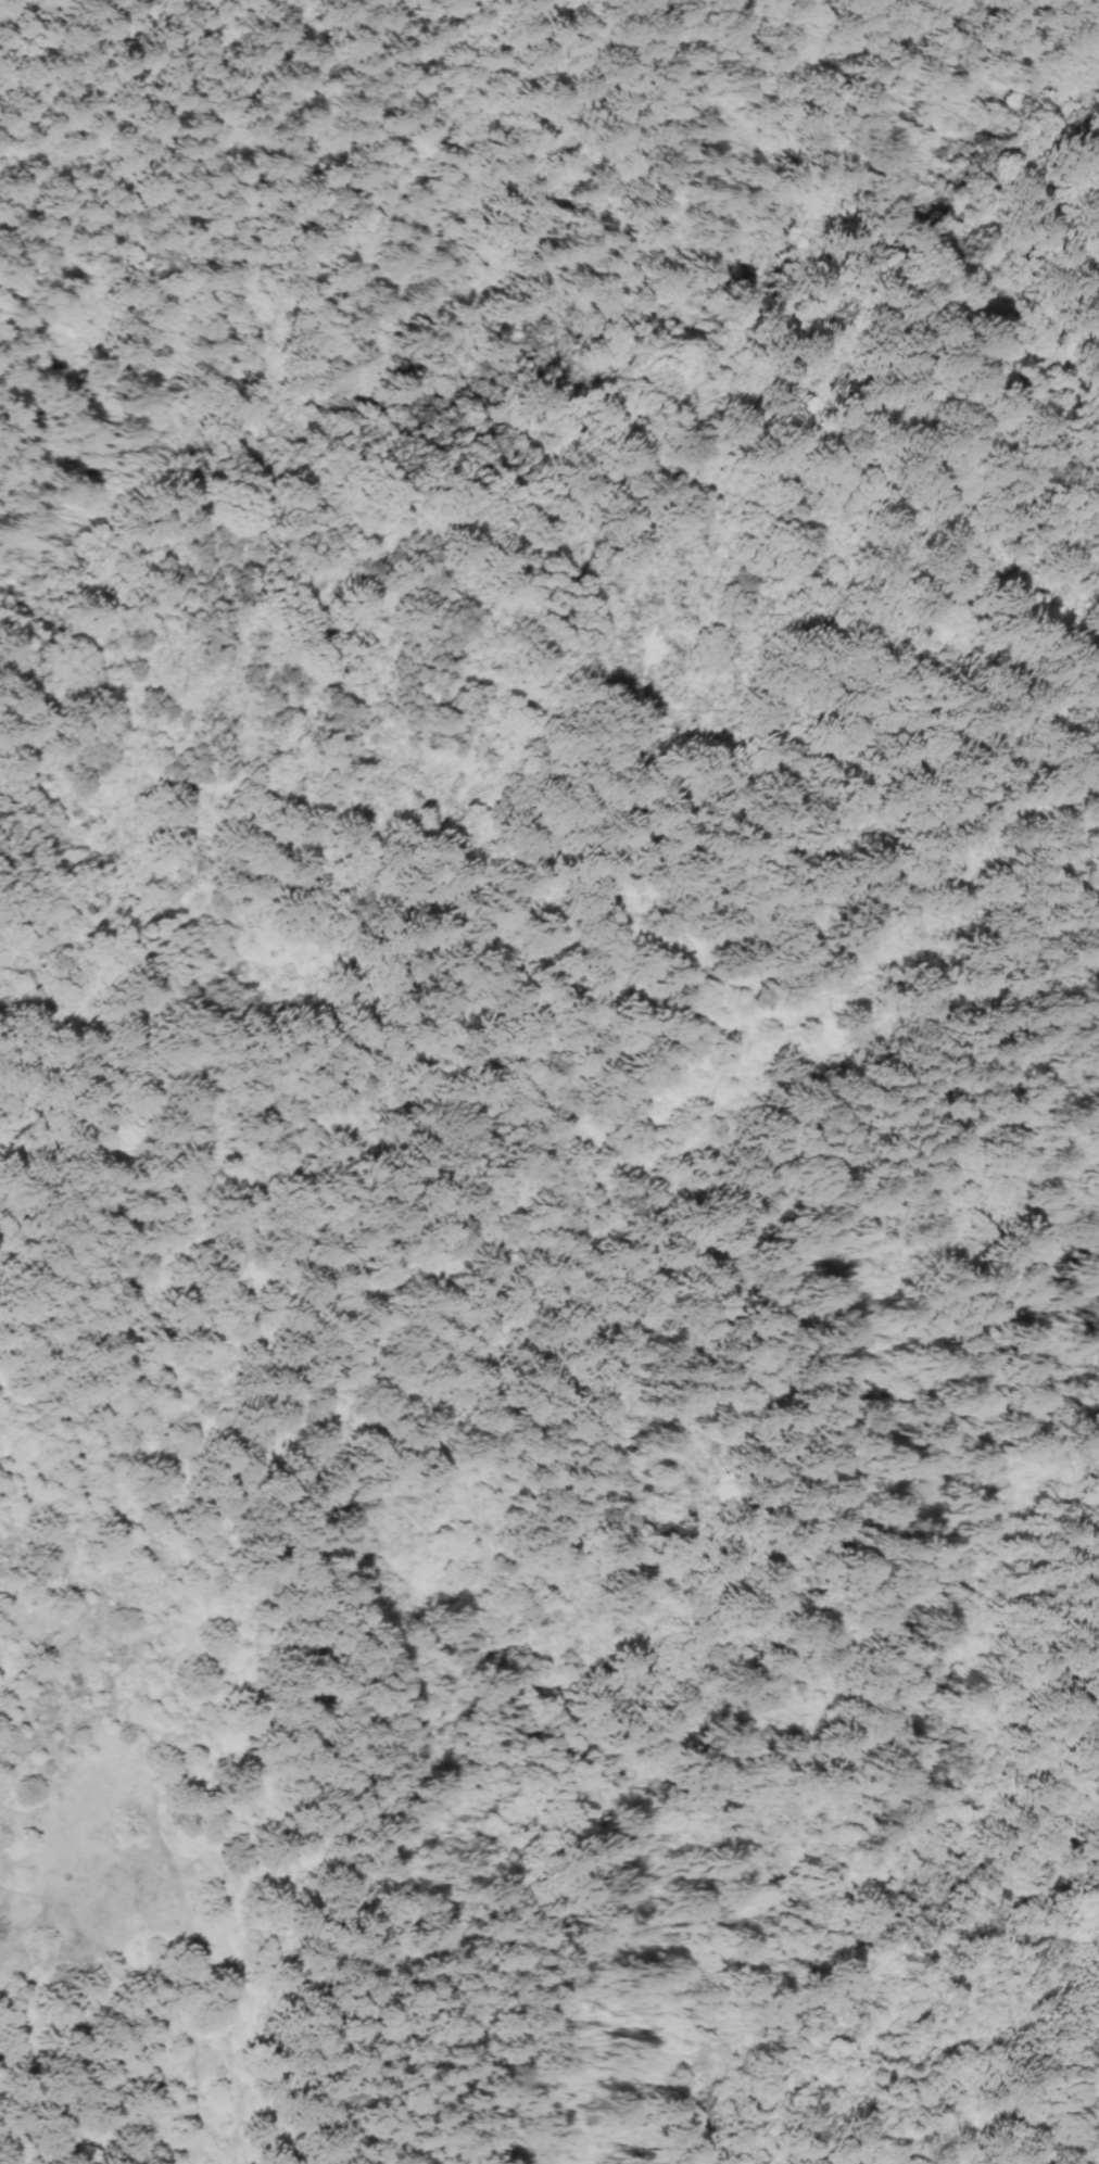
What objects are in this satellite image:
road: (333, 1298)

